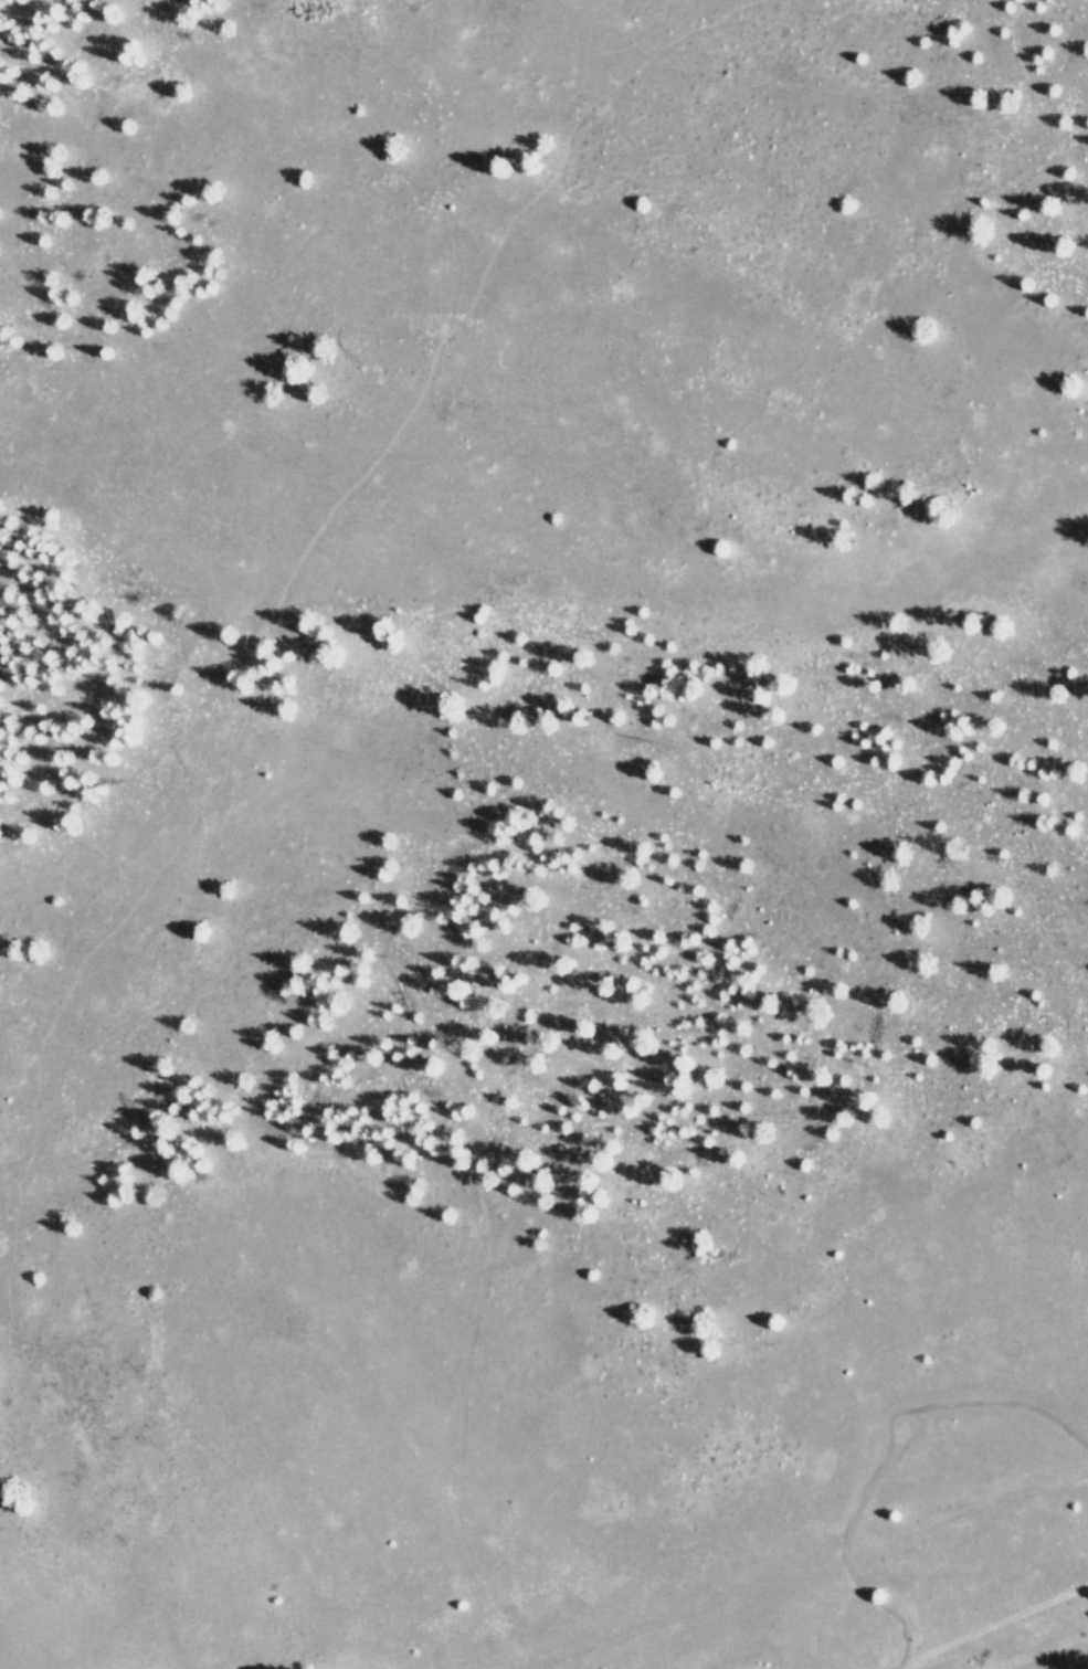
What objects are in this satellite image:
road: (540, 1475)

